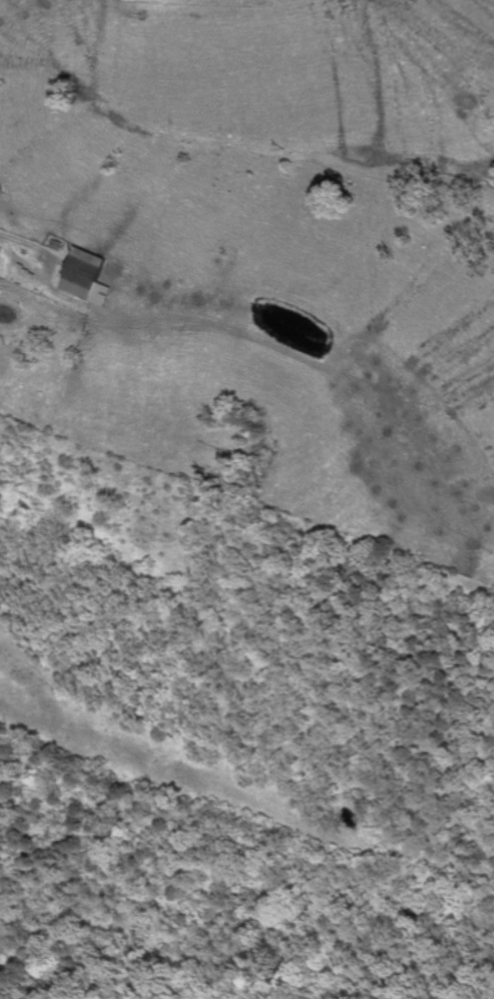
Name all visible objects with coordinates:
building: (83, 277)

